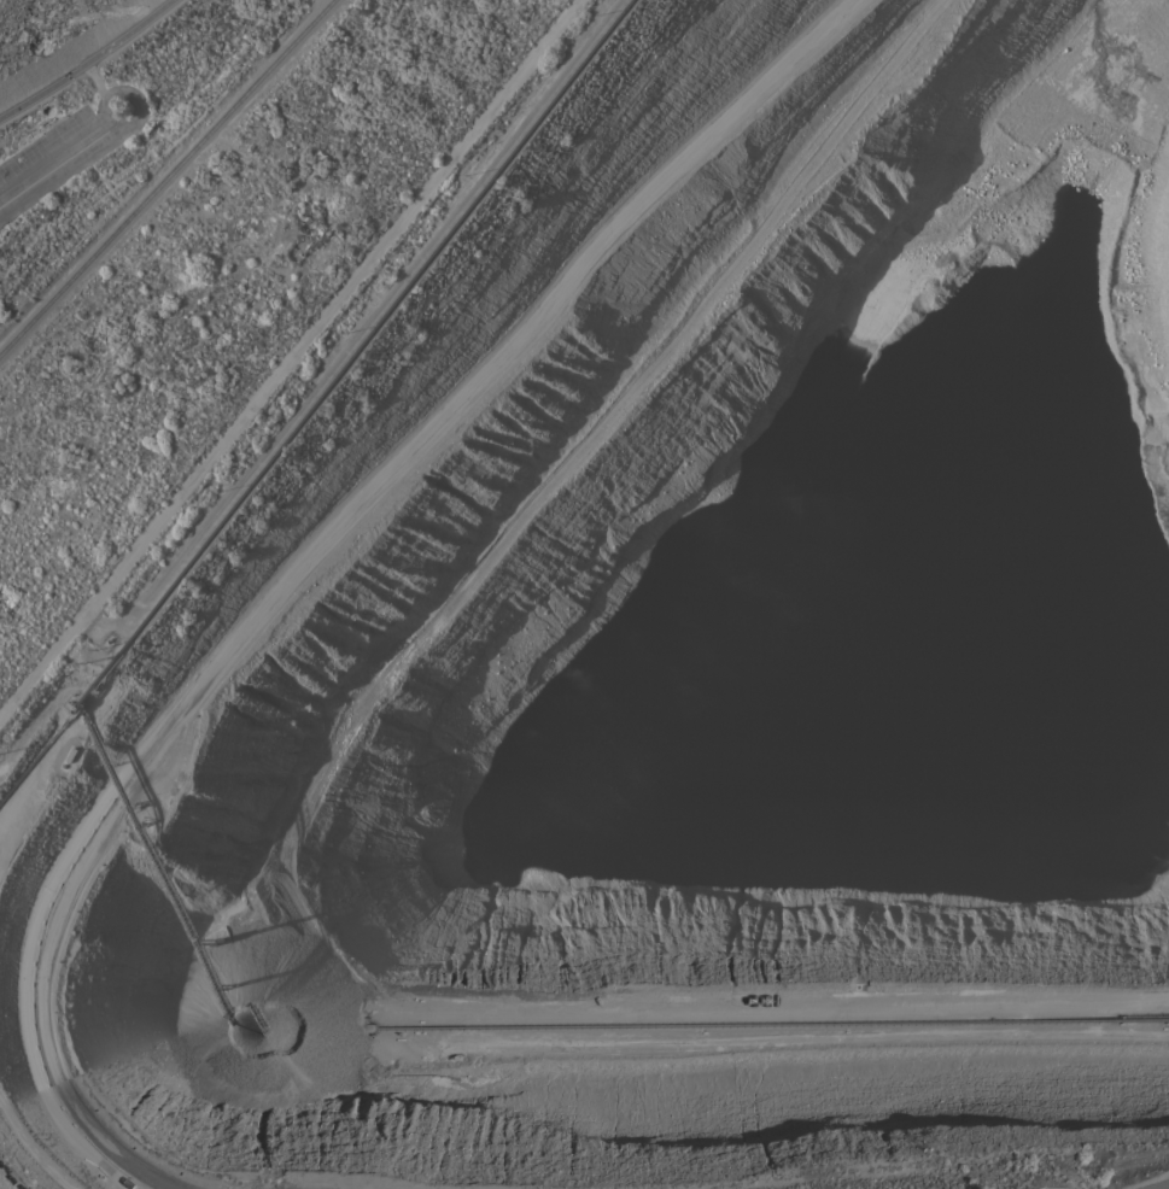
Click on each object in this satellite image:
road: (129, 31)
road: (94, 78)
road: (43, 88)
road: (100, 106)
parking lot: (52, 162)
road: (57, 166)
road: (159, 169)
railway: (166, 177)
road: (63, 642)
road: (215, 650)
quarry: (717, 652)
road: (1163, 1187)

